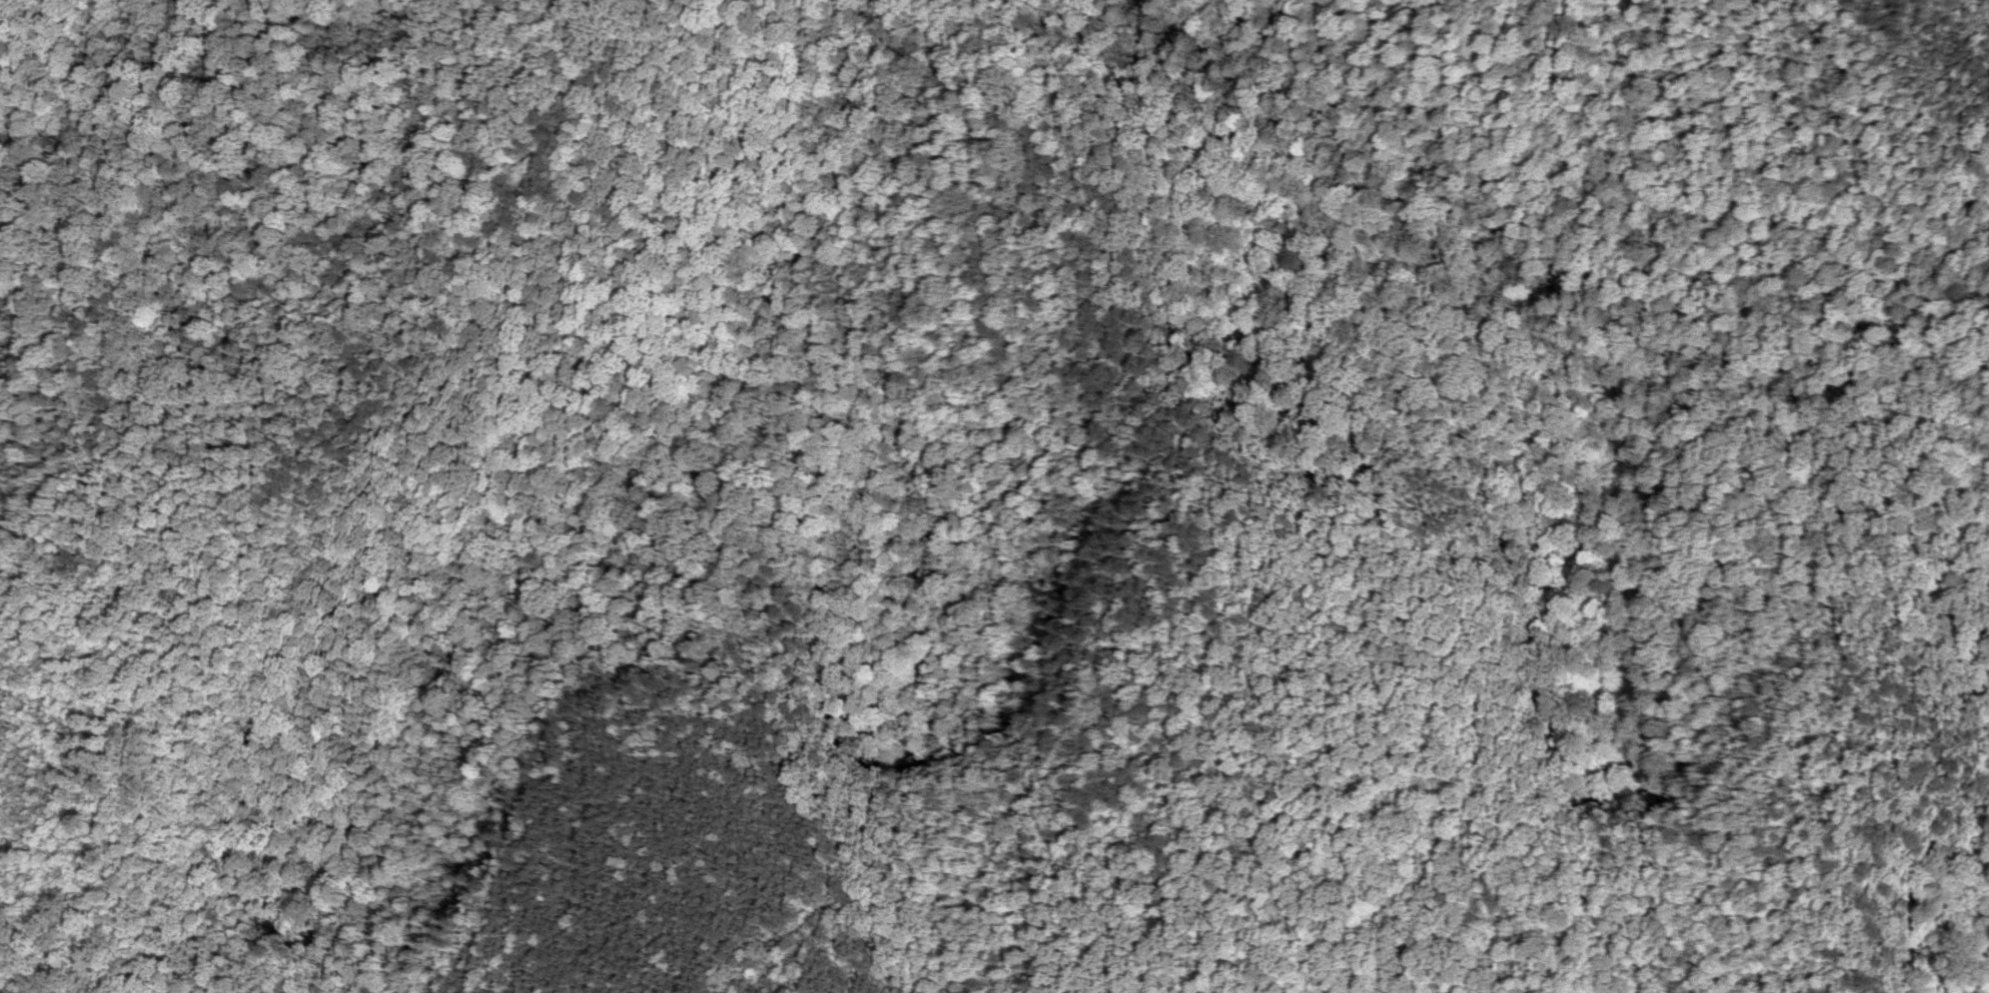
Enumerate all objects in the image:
river: (1425, 176)
park: (1076, 422)

